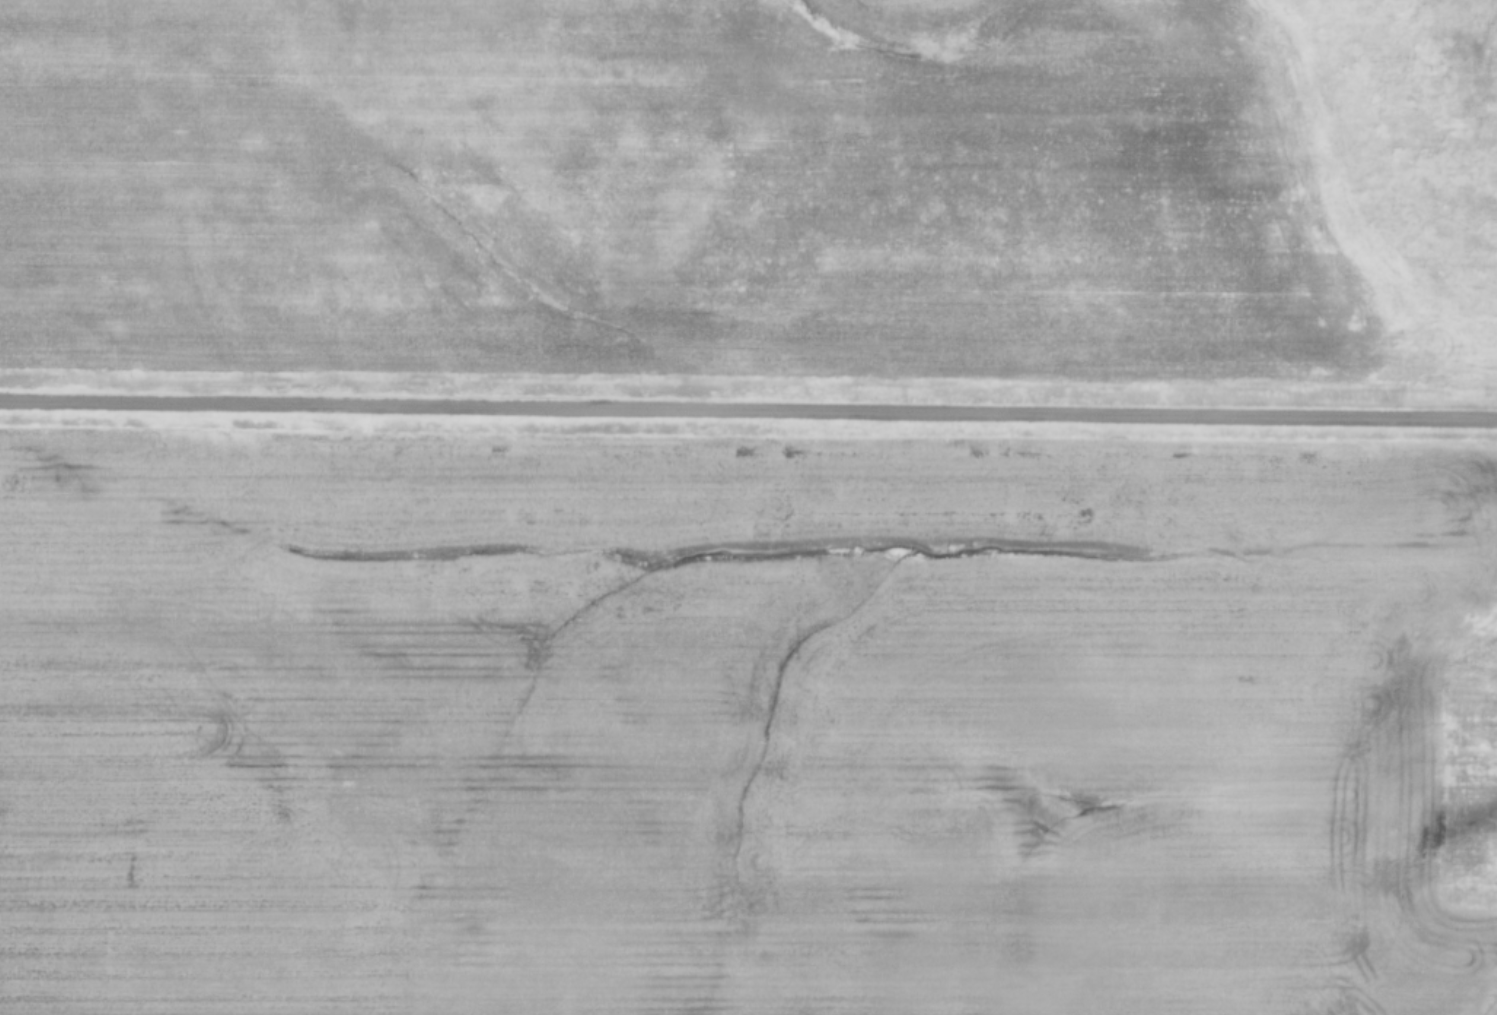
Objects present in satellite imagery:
road: (748, 413)

